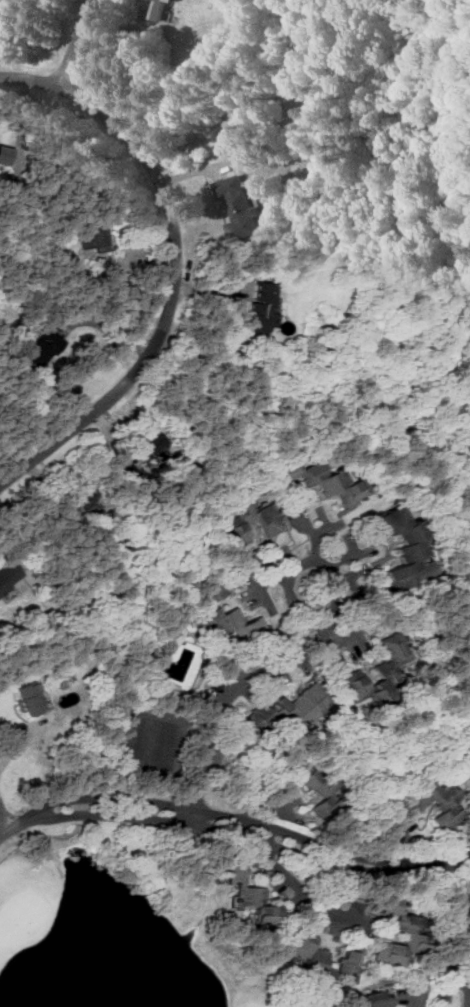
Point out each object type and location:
building: (167, 2)
road: (74, 43)
building: (243, 207)
building: (97, 242)
road: (170, 260)
building: (265, 307)
building: (45, 349)
building: (156, 443)
building: (332, 483)
building: (268, 523)
building: (399, 549)
building: (9, 576)
building: (236, 625)
road: (301, 654)
building: (376, 676)
building: (31, 699)
building: (293, 708)
park: (148, 741)
building: (321, 792)
building: (439, 804)
road: (4, 816)
road: (182, 823)
road: (4, 829)
road: (457, 854)
road: (400, 867)
building: (254, 895)
road: (304, 898)
park: (115, 934)
road: (447, 934)
building: (402, 940)
building: (323, 955)
road: (422, 985)
building: (382, 997)

